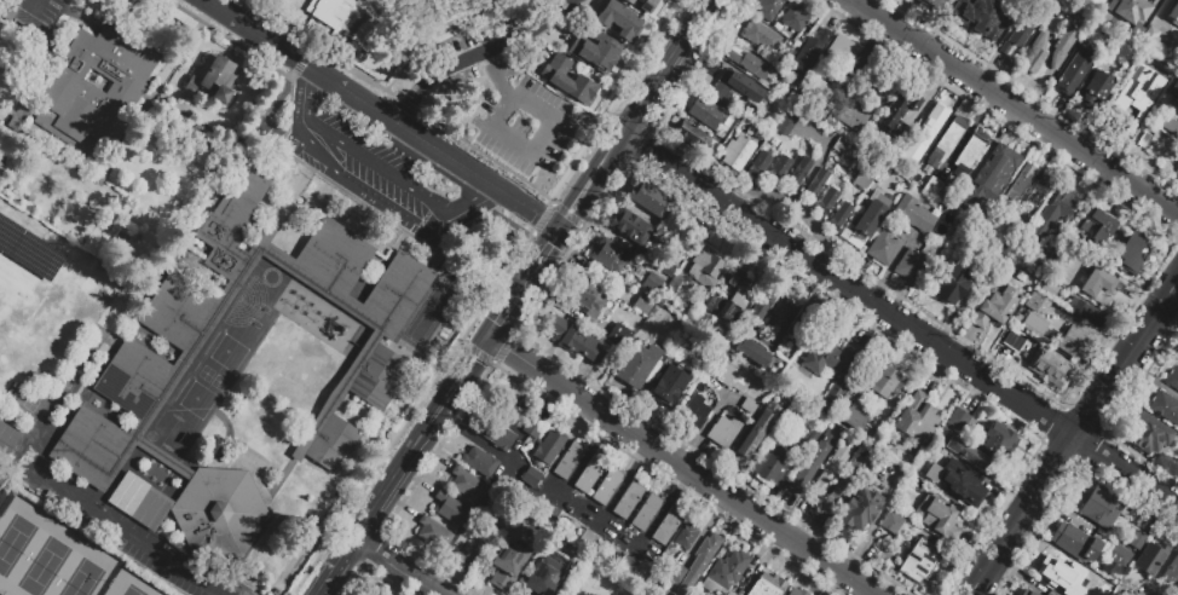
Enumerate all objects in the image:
building: (1144, 1)
building: (1116, 2)
building: (932, 4)
road: (33, 5)
building: (643, 5)
building: (1095, 6)
parking lot: (40, 8)
building: (447, 8)
building: (1111, 8)
building: (328, 10)
building: (772, 10)
building: (957, 10)
building: (981, 10)
building: (1176, 11)
building: (8, 12)
building: (1177, 18)
building: (796, 21)
building: (619, 22)
building: (1082, 22)
parking lot: (501, 25)
building: (998, 31)
building: (1132, 31)
building: (1105, 35)
building: (763, 39)
building: (1016, 41)
road: (317, 46)
building: (1063, 48)
building: (845, 51)
building: (597, 52)
road: (475, 54)
building: (809, 56)
building: (1038, 56)
building: (1170, 57)
building: (789, 58)
road: (507, 60)
road: (665, 67)
building: (755, 70)
building: (1067, 77)
parking lot: (462, 80)
building: (880, 80)
building: (571, 81)
building: (215, 83)
building: (1130, 83)
building: (737, 88)
building: (99, 89)
building: (818, 94)
building: (1174, 94)
building: (1092, 96)
road: (304, 98)
building: (903, 98)
road: (408, 106)
road: (1016, 106)
road: (382, 114)
building: (708, 115)
building: (1132, 116)
parking lot: (520, 117)
building: (854, 117)
building: (787, 122)
building: (887, 126)
building: (16, 127)
building: (1170, 127)
building: (731, 131)
building: (928, 135)
building: (763, 137)
building: (1162, 137)
road: (512, 139)
building: (698, 140)
building: (949, 141)
building: (1144, 143)
building: (843, 150)
building: (738, 155)
building: (970, 155)
building: (1177, 158)
building: (760, 167)
building: (1009, 168)
building: (780, 172)
parking lot: (371, 175)
building: (801, 175)
building: (1177, 175)
building: (870, 177)
road: (370, 178)
road: (591, 181)
building: (976, 184)
building: (1022, 185)
building: (818, 186)
building: (934, 190)
building: (1040, 192)
building: (651, 201)
building: (827, 204)
road: (472, 208)
building: (914, 218)
building: (841, 219)
building: (1052, 219)
building: (870, 221)
building: (631, 230)
building: (1099, 230)
traffic signals: (561, 231)
building: (1001, 233)
building: (885, 249)
road: (547, 253)
building: (1068, 253)
building: (998, 258)
building: (1136, 258)
building: (611, 259)
building: (1046, 259)
building: (1064, 259)
building: (913, 267)
building: (706, 270)
building: (357, 279)
building: (653, 285)
building: (954, 285)
road: (525, 287)
road: (1173, 288)
building: (672, 289)
building: (1101, 289)
building: (1049, 291)
road: (485, 296)
building: (588, 299)
building: (738, 299)
building: (1022, 301)
building: (645, 306)
building: (714, 306)
building: (762, 310)
building: (993, 310)
building: (1089, 316)
road: (504, 318)
building: (780, 318)
road: (899, 320)
building: (1055, 322)
building: (703, 324)
building: (1032, 325)
building: (802, 327)
building: (619, 337)
building: (168, 339)
traffic signals: (492, 339)
building: (577, 342)
building: (1015, 342)
building: (1073, 343)
building: (711, 346)
building: (1028, 348)
road: (516, 354)
building: (756, 356)
building: (1177, 359)
building: (701, 363)
building: (640, 368)
building: (833, 368)
building: (1051, 370)
building: (729, 380)
building: (1174, 381)
building: (887, 386)
building: (665, 393)
building: (374, 398)
road: (452, 399)
building: (750, 409)
building: (1165, 409)
building: (508, 411)
building: (695, 416)
building: (957, 418)
building: (859, 421)
building: (919, 421)
building: (763, 427)
building: (533, 431)
building: (724, 434)
building: (1150, 435)
building: (500, 438)
building: (6, 439)
road: (1069, 441)
building: (1005, 445)
building: (550, 450)
building: (977, 461)
building: (570, 463)
building: (481, 464)
building: (779, 464)
building: (813, 464)
building: (936, 469)
building: (590, 476)
building: (830, 476)
building: (533, 480)
road: (708, 483)
building: (468, 486)
building: (847, 486)
building: (608, 489)
building: (971, 493)
road: (386, 501)
building: (920, 501)
building: (630, 503)
building: (68, 506)
building: (861, 510)
building: (1103, 510)
building: (451, 512)
building: (221, 515)
building: (550, 515)
building: (648, 515)
building: (952, 518)
building: (894, 520)
road: (125, 525)
building: (669, 528)
building: (435, 536)
building: (688, 537)
building: (1133, 539)
building: (589, 542)
building: (1076, 544)
building: (709, 550)
park: (50, 555)
building: (1121, 559)
building: (1151, 560)
building: (920, 564)
building: (510, 565)
road: (340, 567)
road: (400, 567)
building: (628, 567)
building: (727, 574)
building: (1059, 574)
building: (548, 576)
building: (677, 576)
building: (1172, 577)
park: (131, 585)
park: (600, 585)
building: (770, 587)
building: (1103, 589)
building: (797, 593)
road: (971, 593)
building: (1026, 593)
building: (1046, 594)
building: (1128, 594)
building: (1157, 594)

